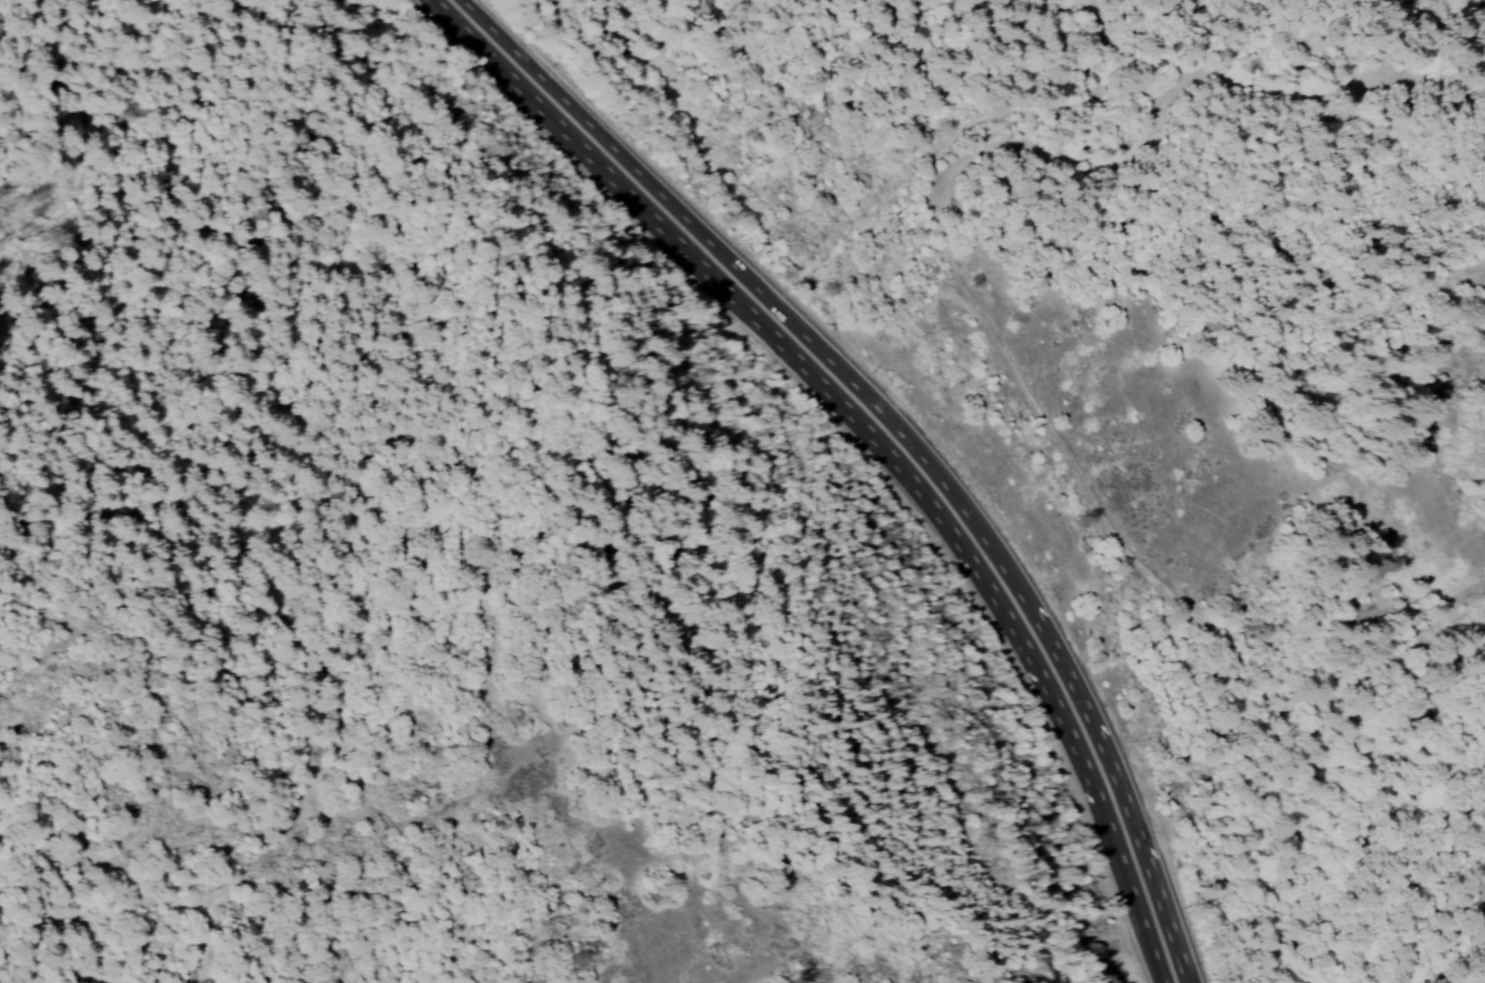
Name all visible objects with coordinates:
road: (749, 298)
road: (1112, 796)
road: (1478, 894)

